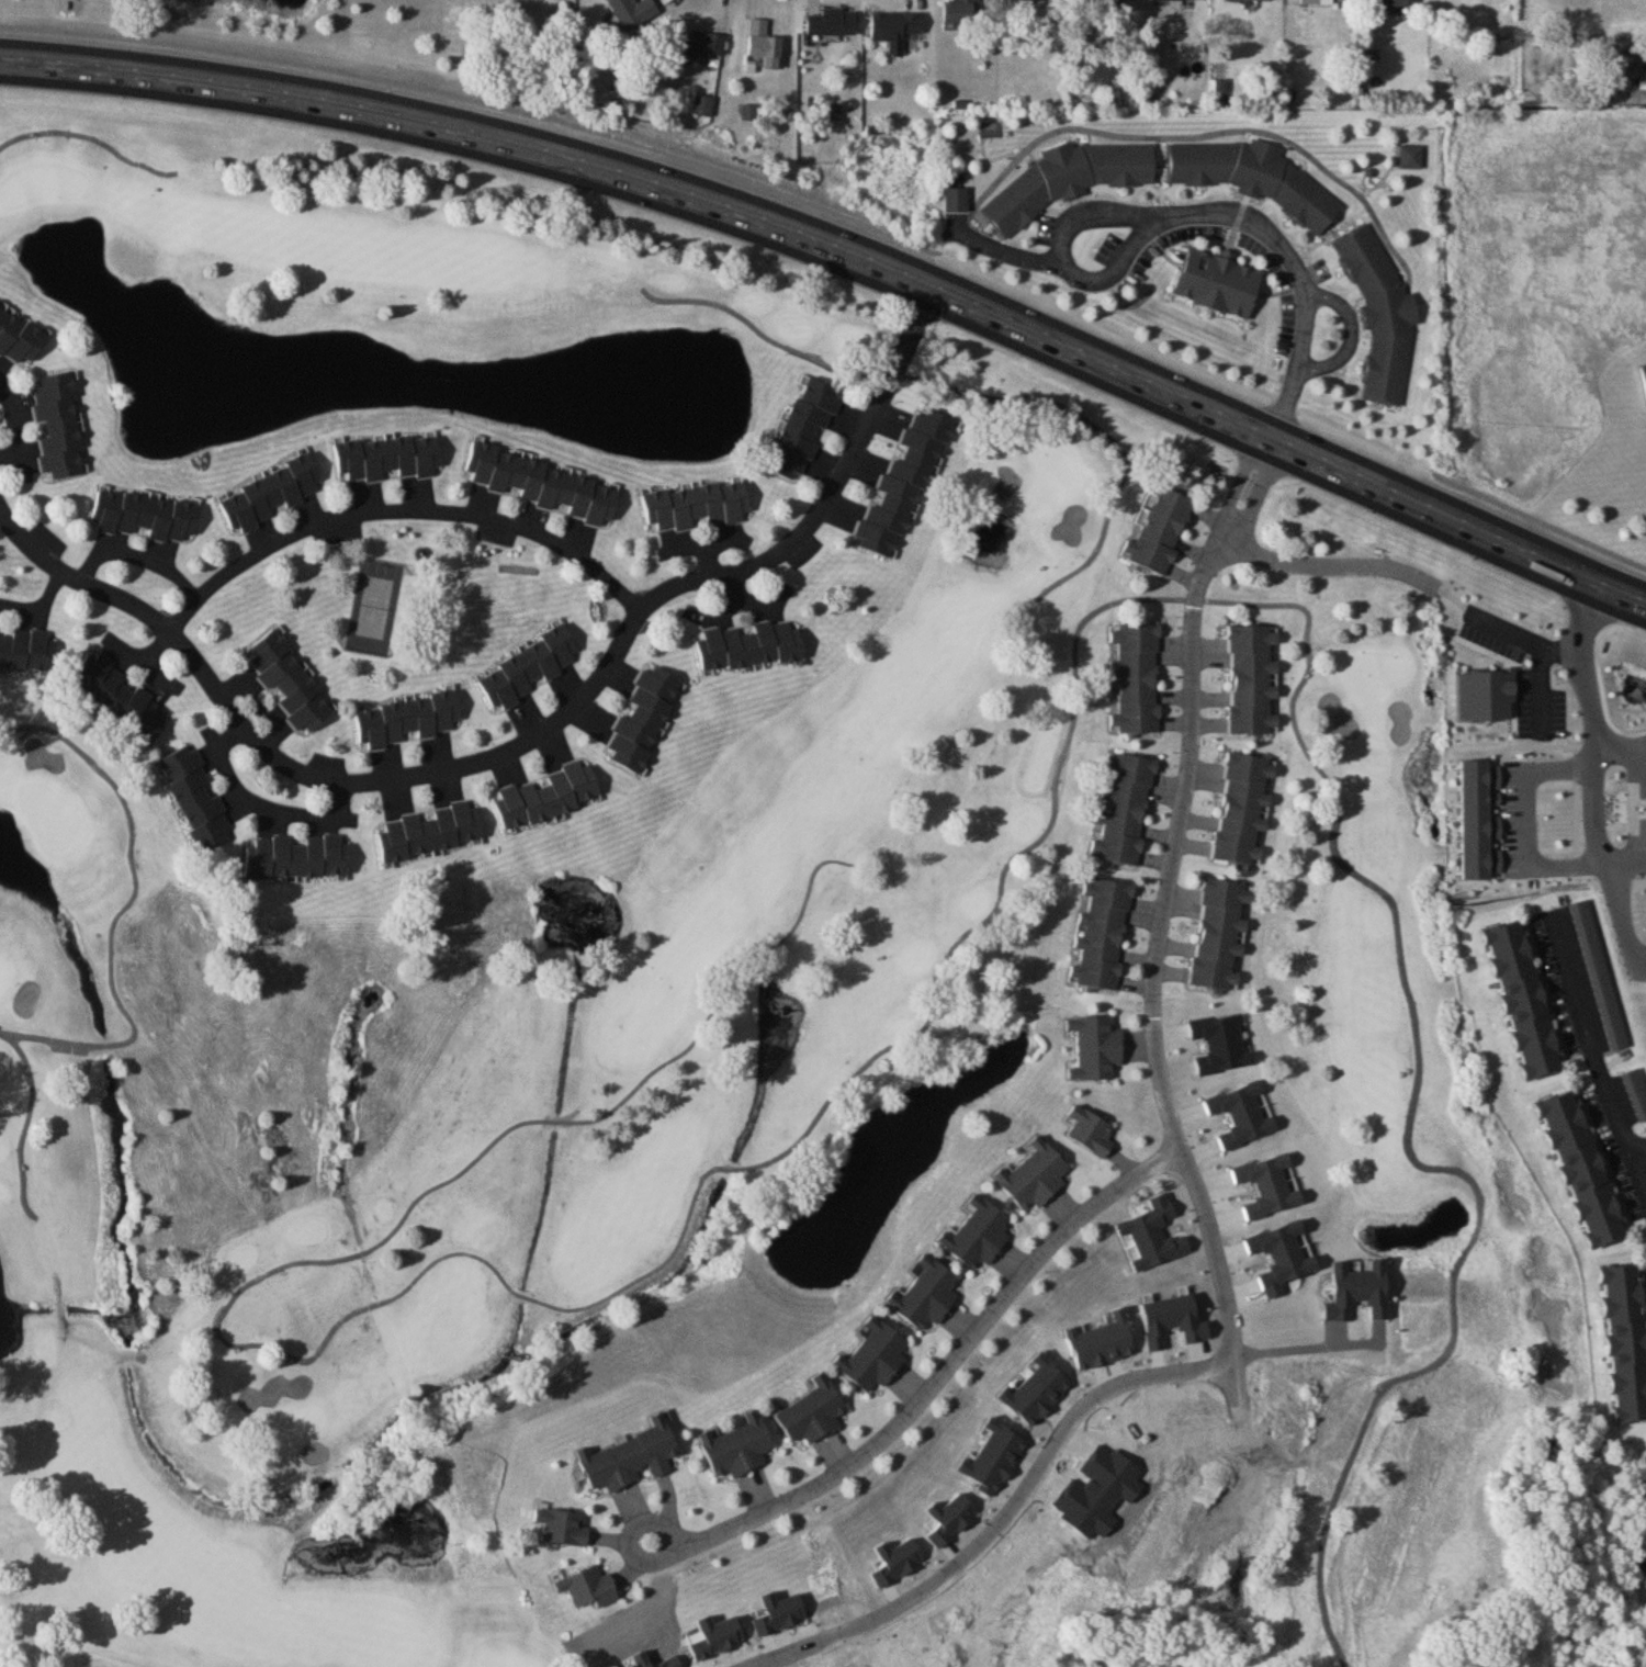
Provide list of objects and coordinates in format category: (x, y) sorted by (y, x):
building: (1317, 2)
building: (1386, 2)
building: (632, 11)
building: (959, 11)
building: (832, 22)
building: (894, 25)
road: (110, 33)
building: (697, 43)
building: (764, 44)
building: (703, 104)
building: (1411, 156)
building: (1254, 178)
building: (1069, 180)
building: (956, 199)
road: (1204, 214)
road: (846, 251)
road: (1006, 254)
building: (1218, 283)
building: (1380, 314)
road: (1351, 333)
building: (19, 337)
building: (1643, 369)
road: (14, 420)
building: (58, 424)
building: (803, 426)
building: (388, 458)
building: (543, 484)
building: (903, 485)
building: (269, 494)
building: (696, 506)
road: (394, 507)
building: (146, 516)
road: (1538, 523)
building: (1159, 531)
road: (136, 556)
road: (1331, 564)
road: (1562, 642)
building: (748, 647)
building: (26, 652)
road: (1536, 653)
building: (525, 669)
building: (1135, 679)
building: (1252, 680)
building: (290, 682)
building: (117, 698)
building: (407, 720)
building: (642, 720)
road: (525, 744)
road: (1625, 767)
road: (1535, 785)
building: (548, 796)
building: (195, 800)
building: (1243, 810)
road: (269, 811)
building: (1123, 811)
road: (1599, 826)
building: (431, 833)
building: (296, 857)
road: (1631, 877)
road: (1166, 915)
building: (1100, 935)
building: (1220, 935)
building: (1599, 976)
park: (680, 992)
building: (1522, 1001)
road: (1597, 1040)
building: (1095, 1048)
building: (1636, 1092)
building: (1089, 1131)
road: (1642, 1148)
building: (1581, 1170)
building: (1033, 1175)
building: (976, 1234)
building: (924, 1294)
building: (1625, 1342)
building: (873, 1358)
road: (1295, 1358)
road: (945, 1374)
building: (813, 1413)
building: (736, 1448)
building: (629, 1458)
road: (1006, 1516)
building: (561, 1525)
road: (639, 1558)
building: (588, 1588)

